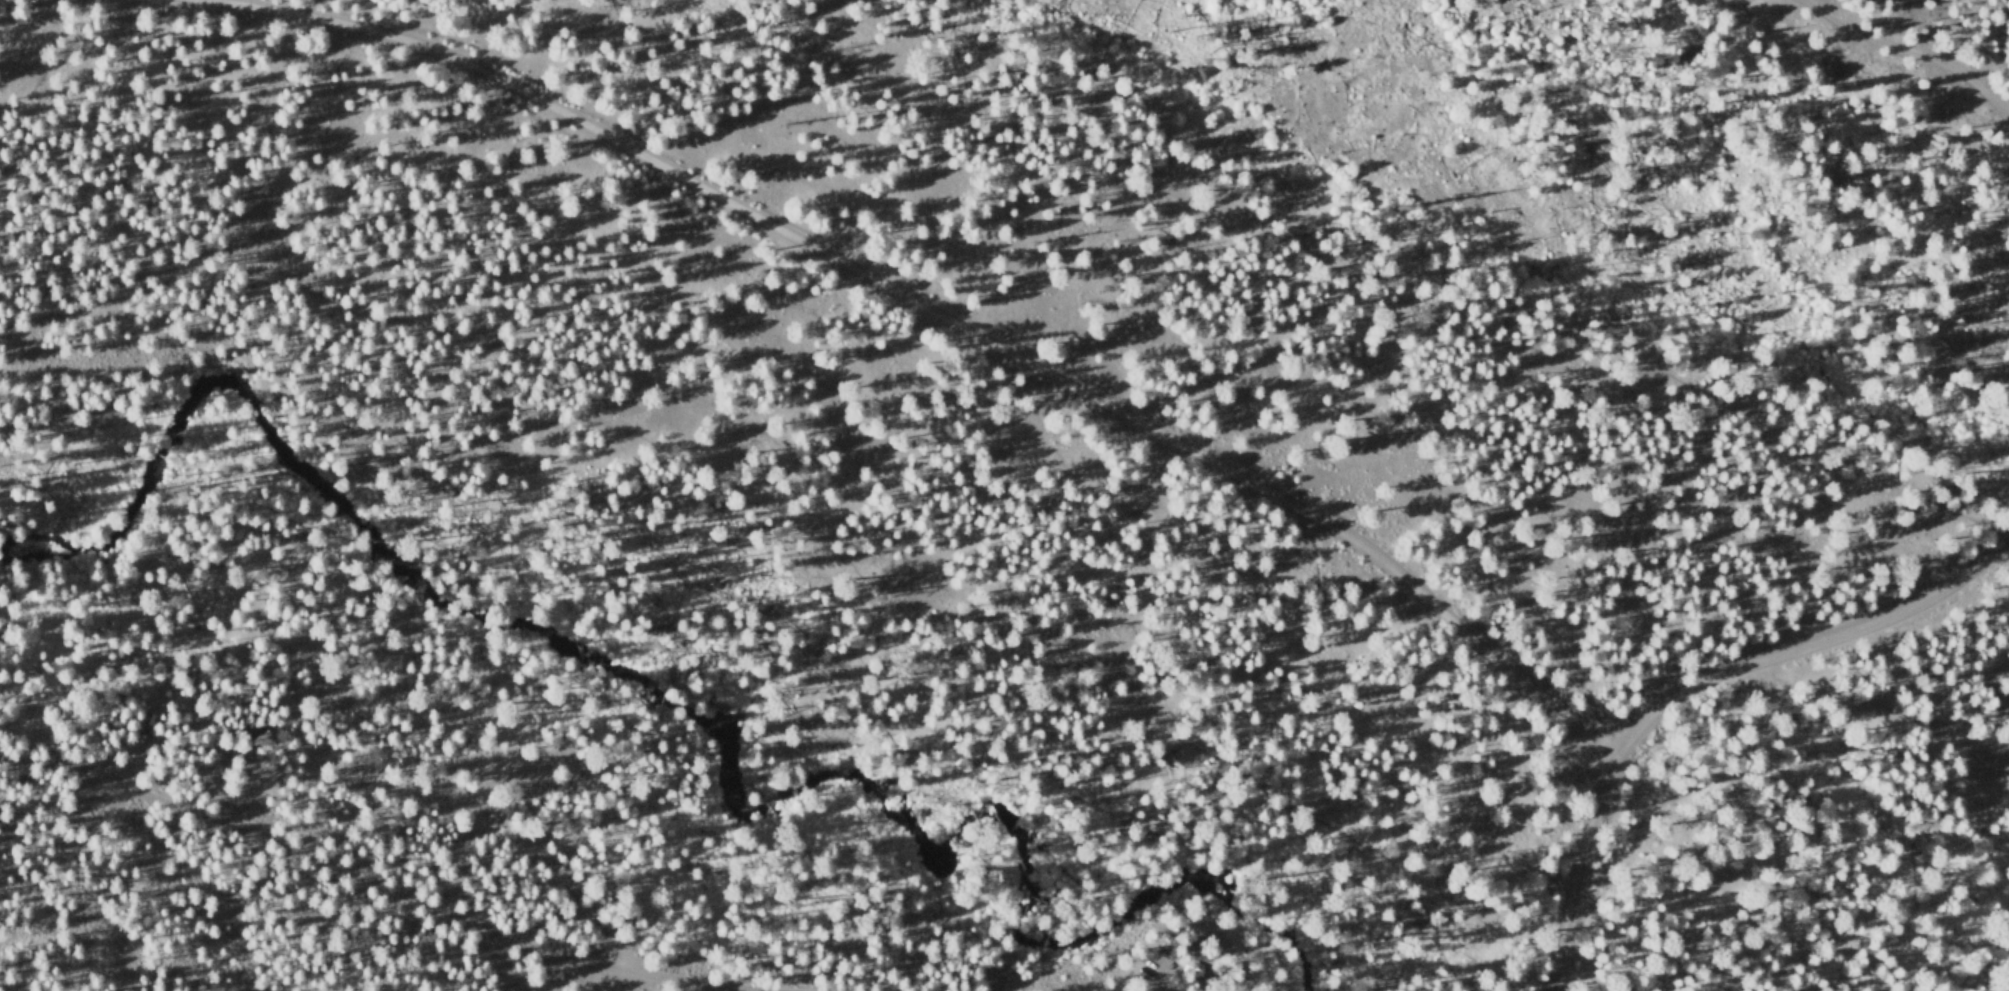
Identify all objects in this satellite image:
road: (1911, 52)
road: (939, 317)
road: (785, 503)
road: (1693, 686)
road: (378, 884)

